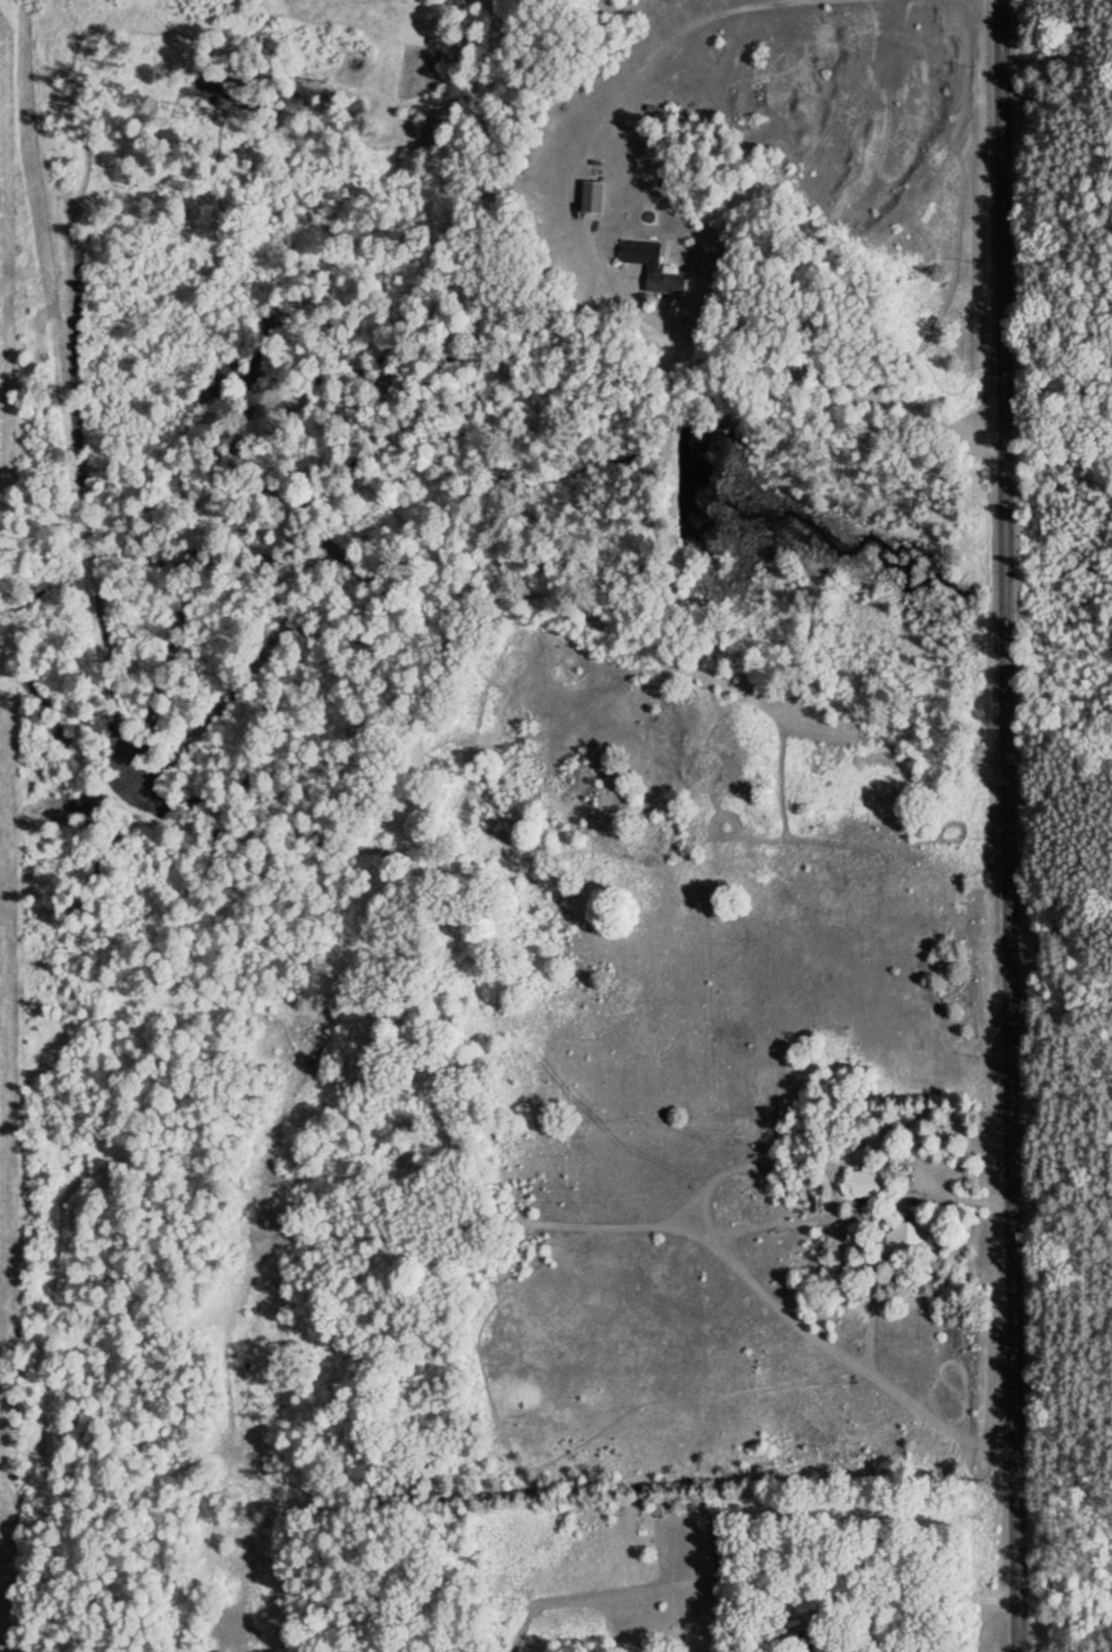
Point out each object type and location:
building: (598, 196)
building: (657, 266)
road: (1008, 825)
building: (868, 1183)
building: (906, 1235)
building: (724, 1543)

